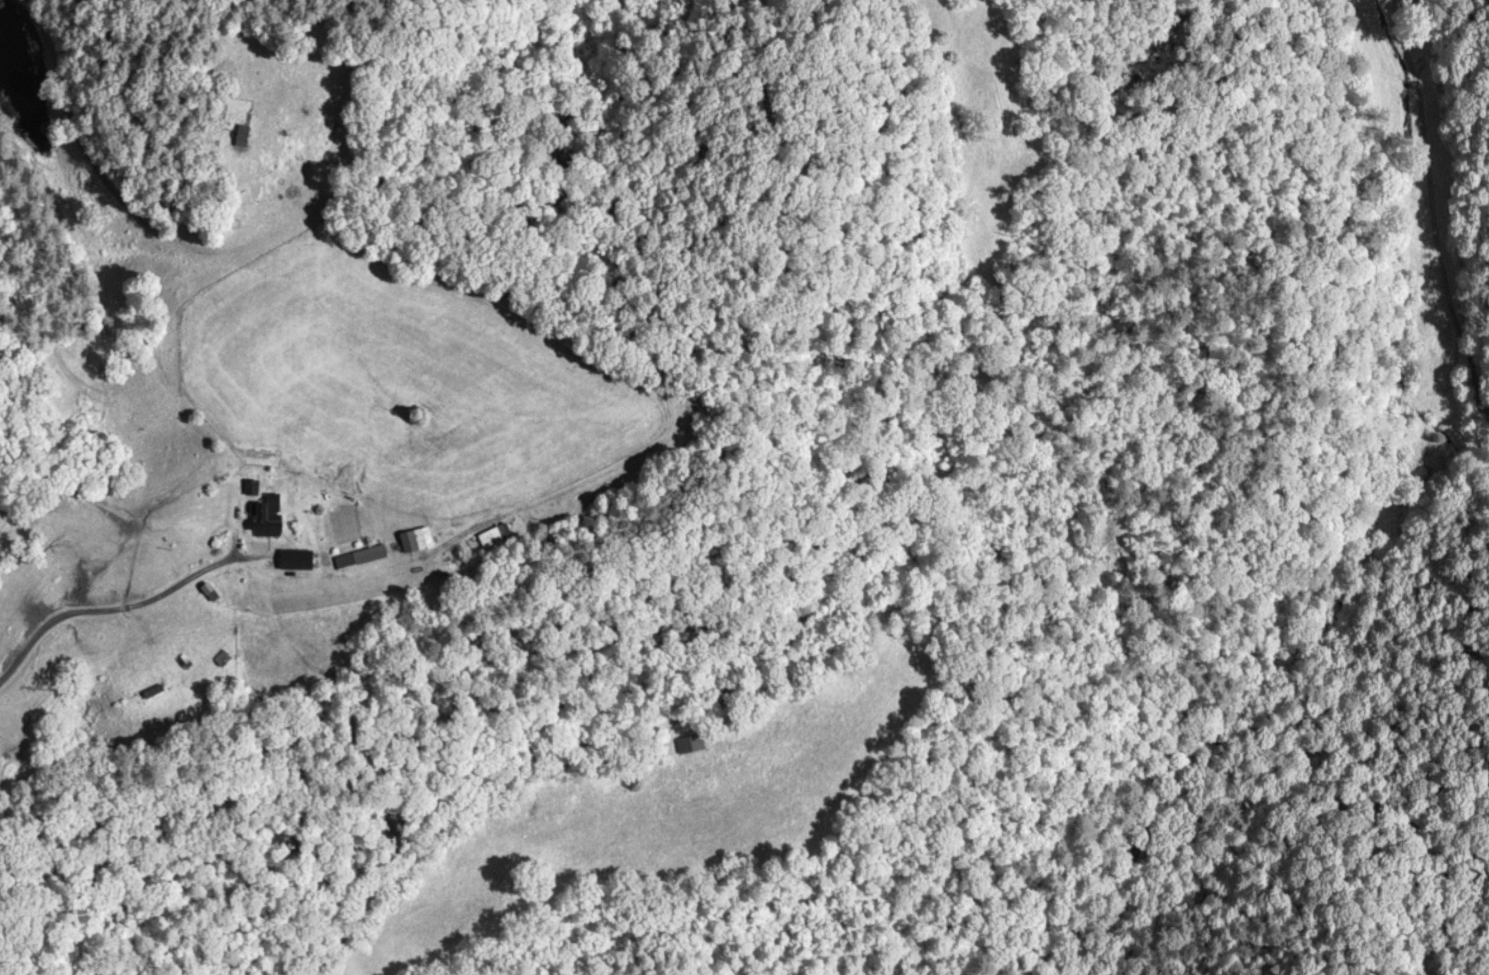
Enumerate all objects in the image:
building: (240, 139)
building: (267, 518)
building: (415, 542)
building: (359, 559)
building: (294, 561)
road: (112, 610)
building: (152, 694)
building: (688, 746)

